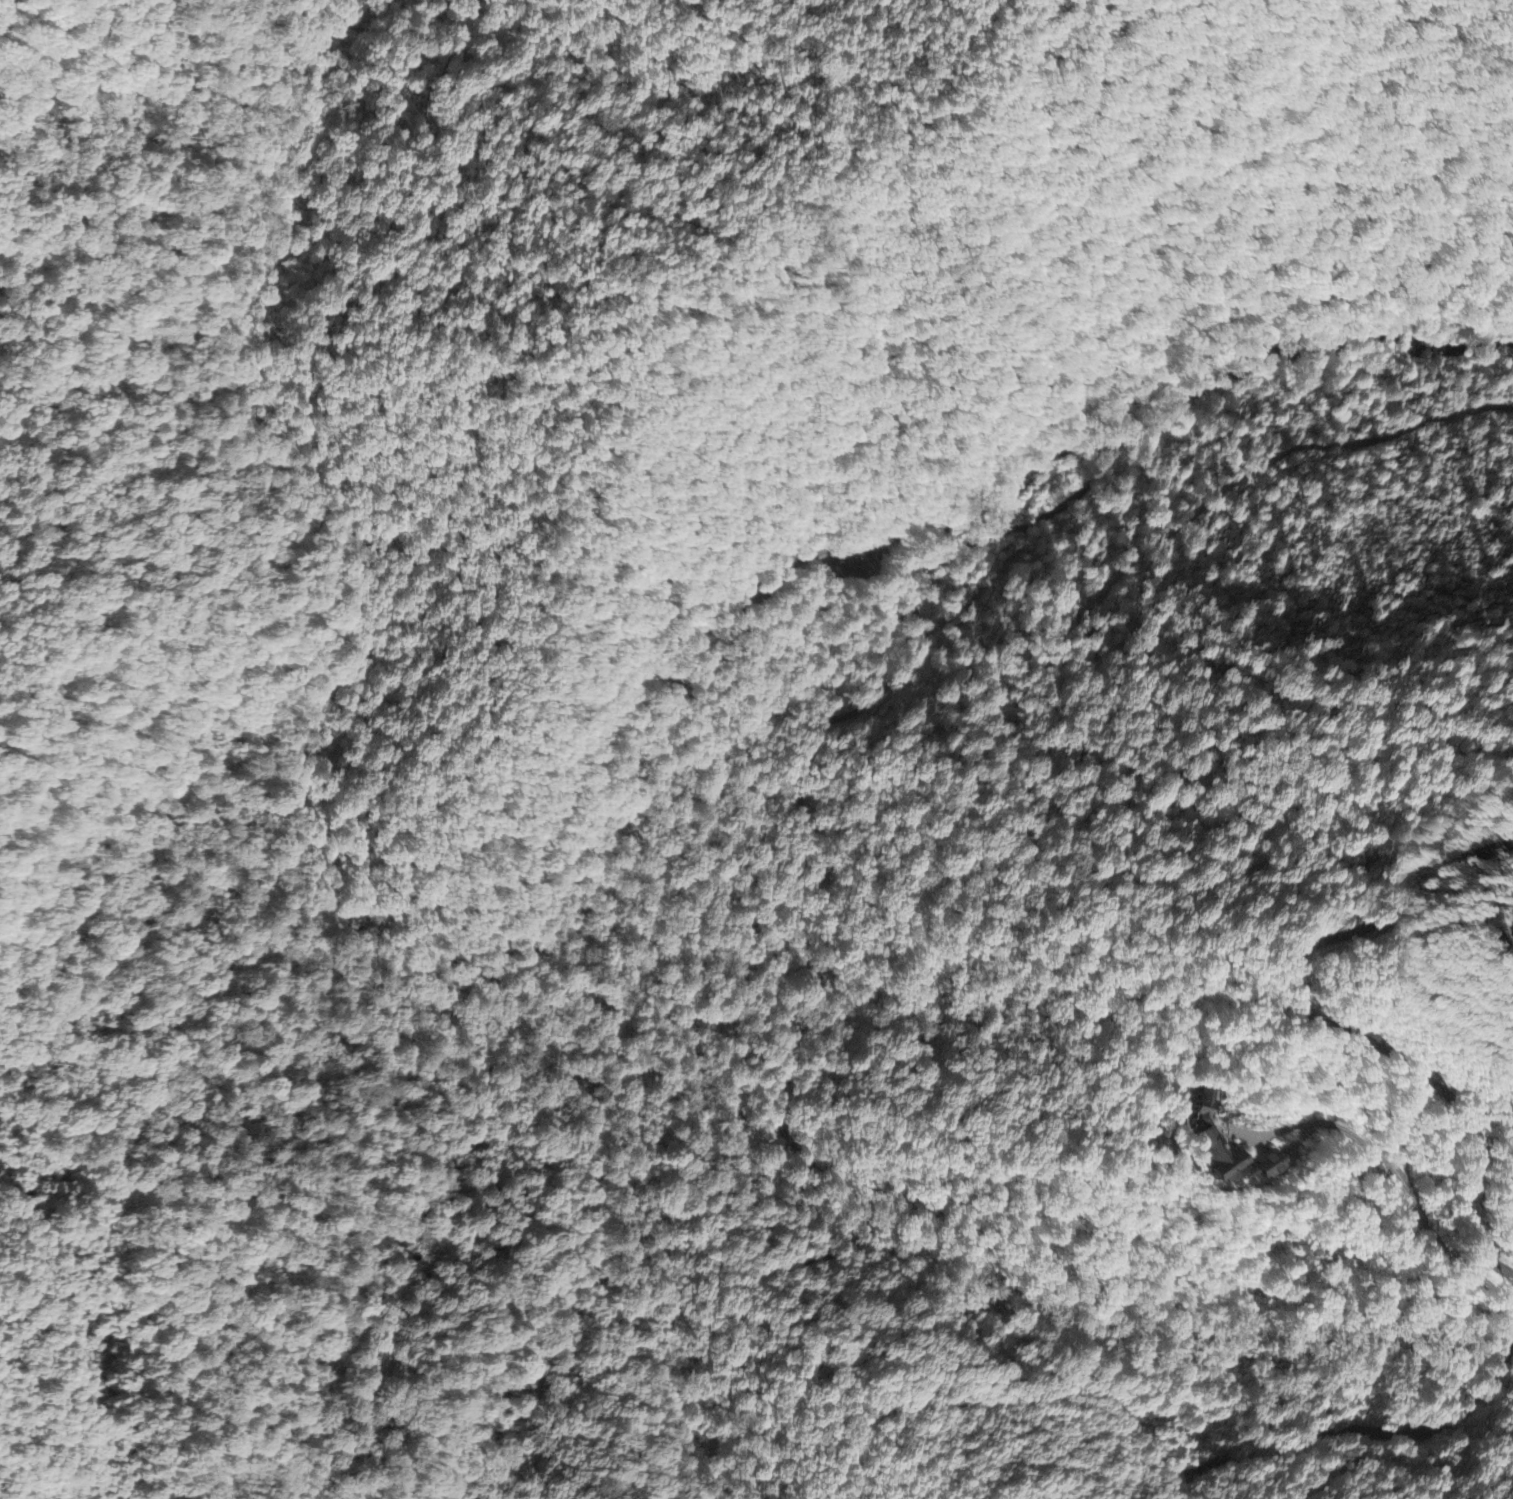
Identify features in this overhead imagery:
road: (1339, 1026)
road: (777, 1070)
building: (1217, 1159)
road: (69, 1333)
road: (1479, 1394)
road: (1121, 1411)

